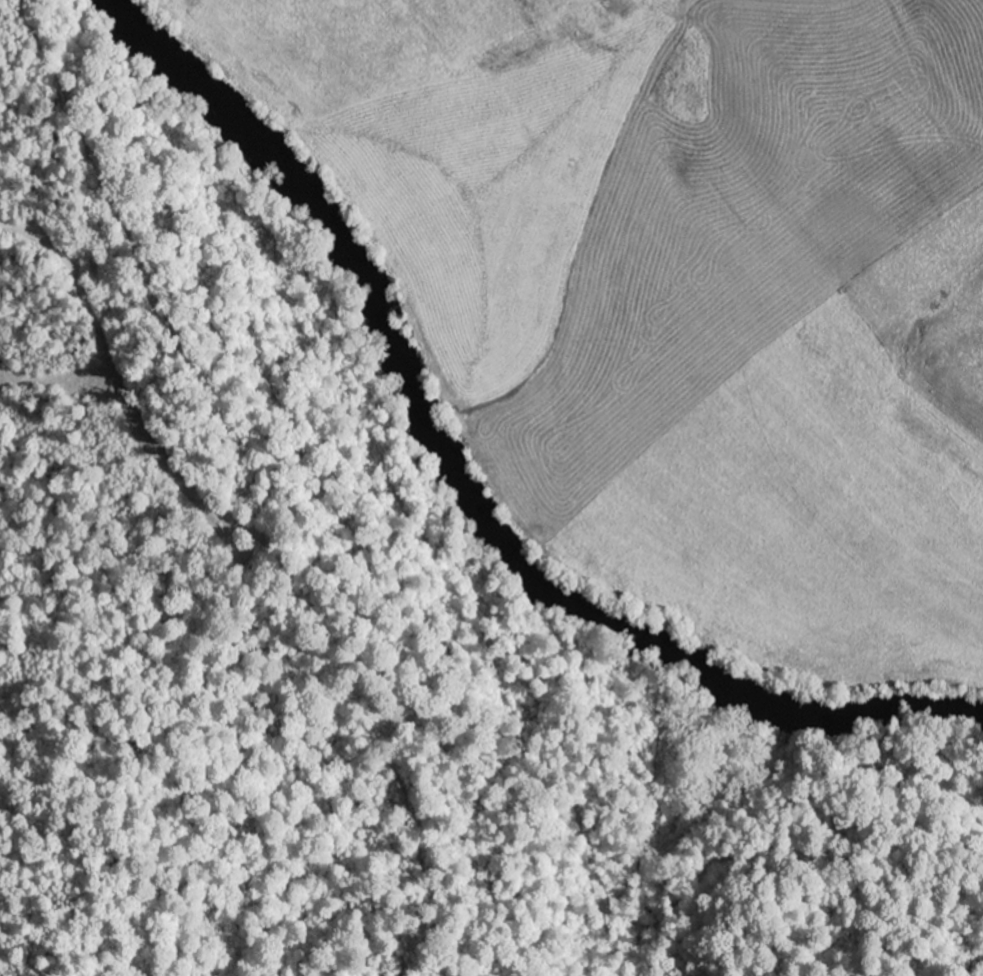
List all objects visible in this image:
river: (471, 479)

